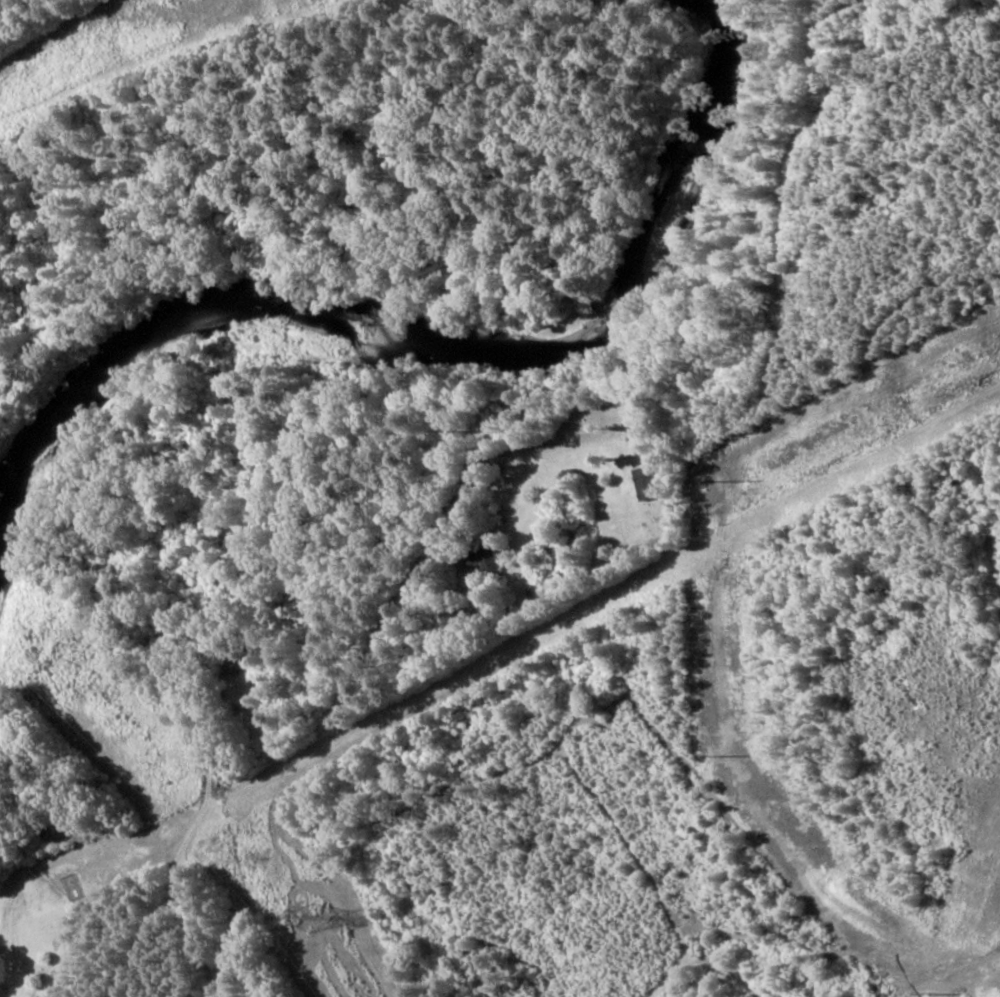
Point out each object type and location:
road: (441, 544)
building: (482, 558)
road: (197, 690)
road: (10, 883)
power tower: (305, 915)
road: (236, 920)

